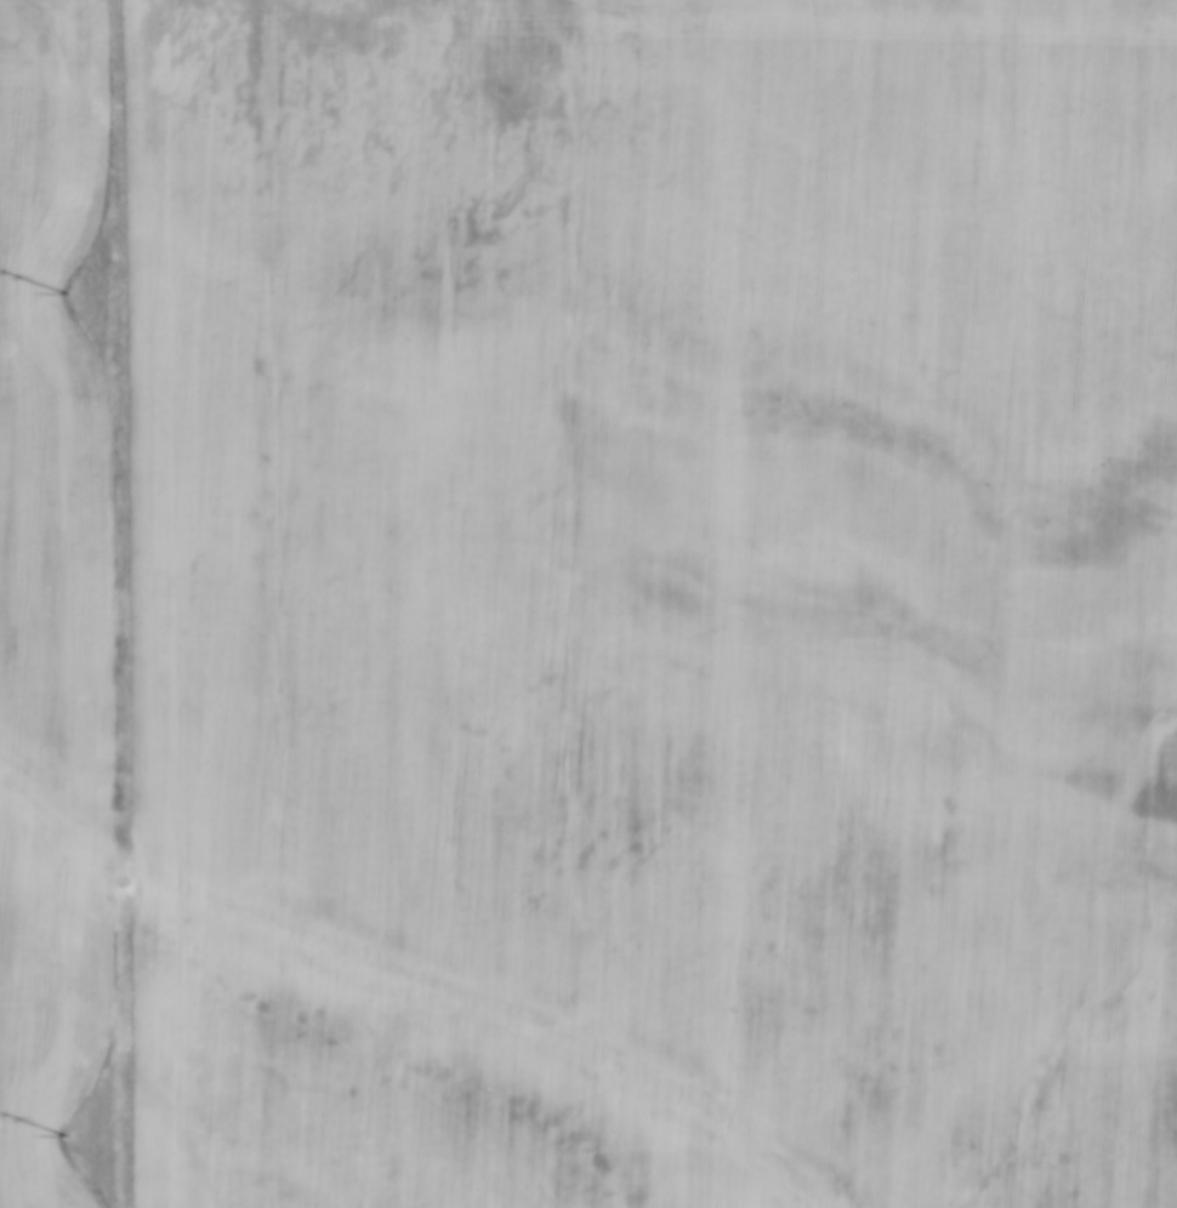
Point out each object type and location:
power tower: (69, 291)
power tower: (67, 1134)

